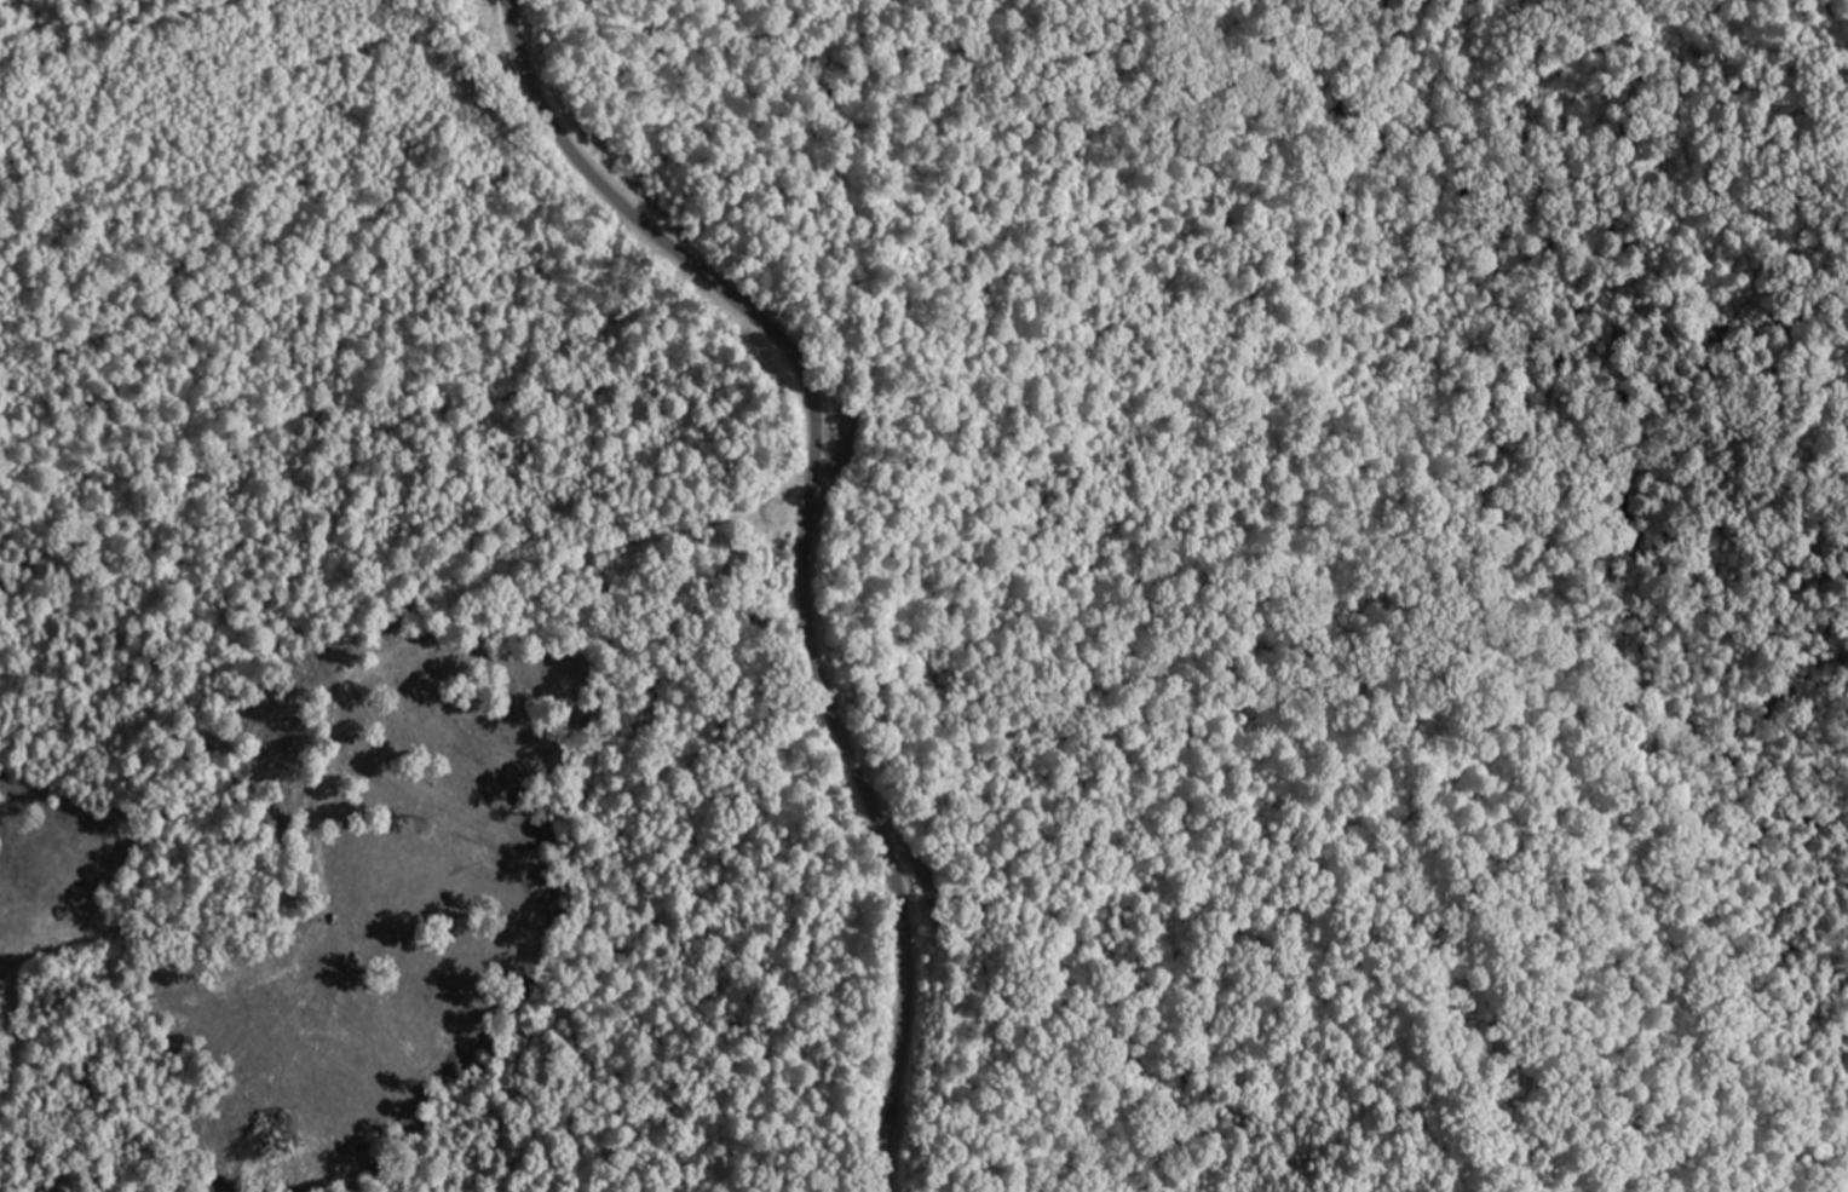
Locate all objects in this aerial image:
road: (802, 545)

